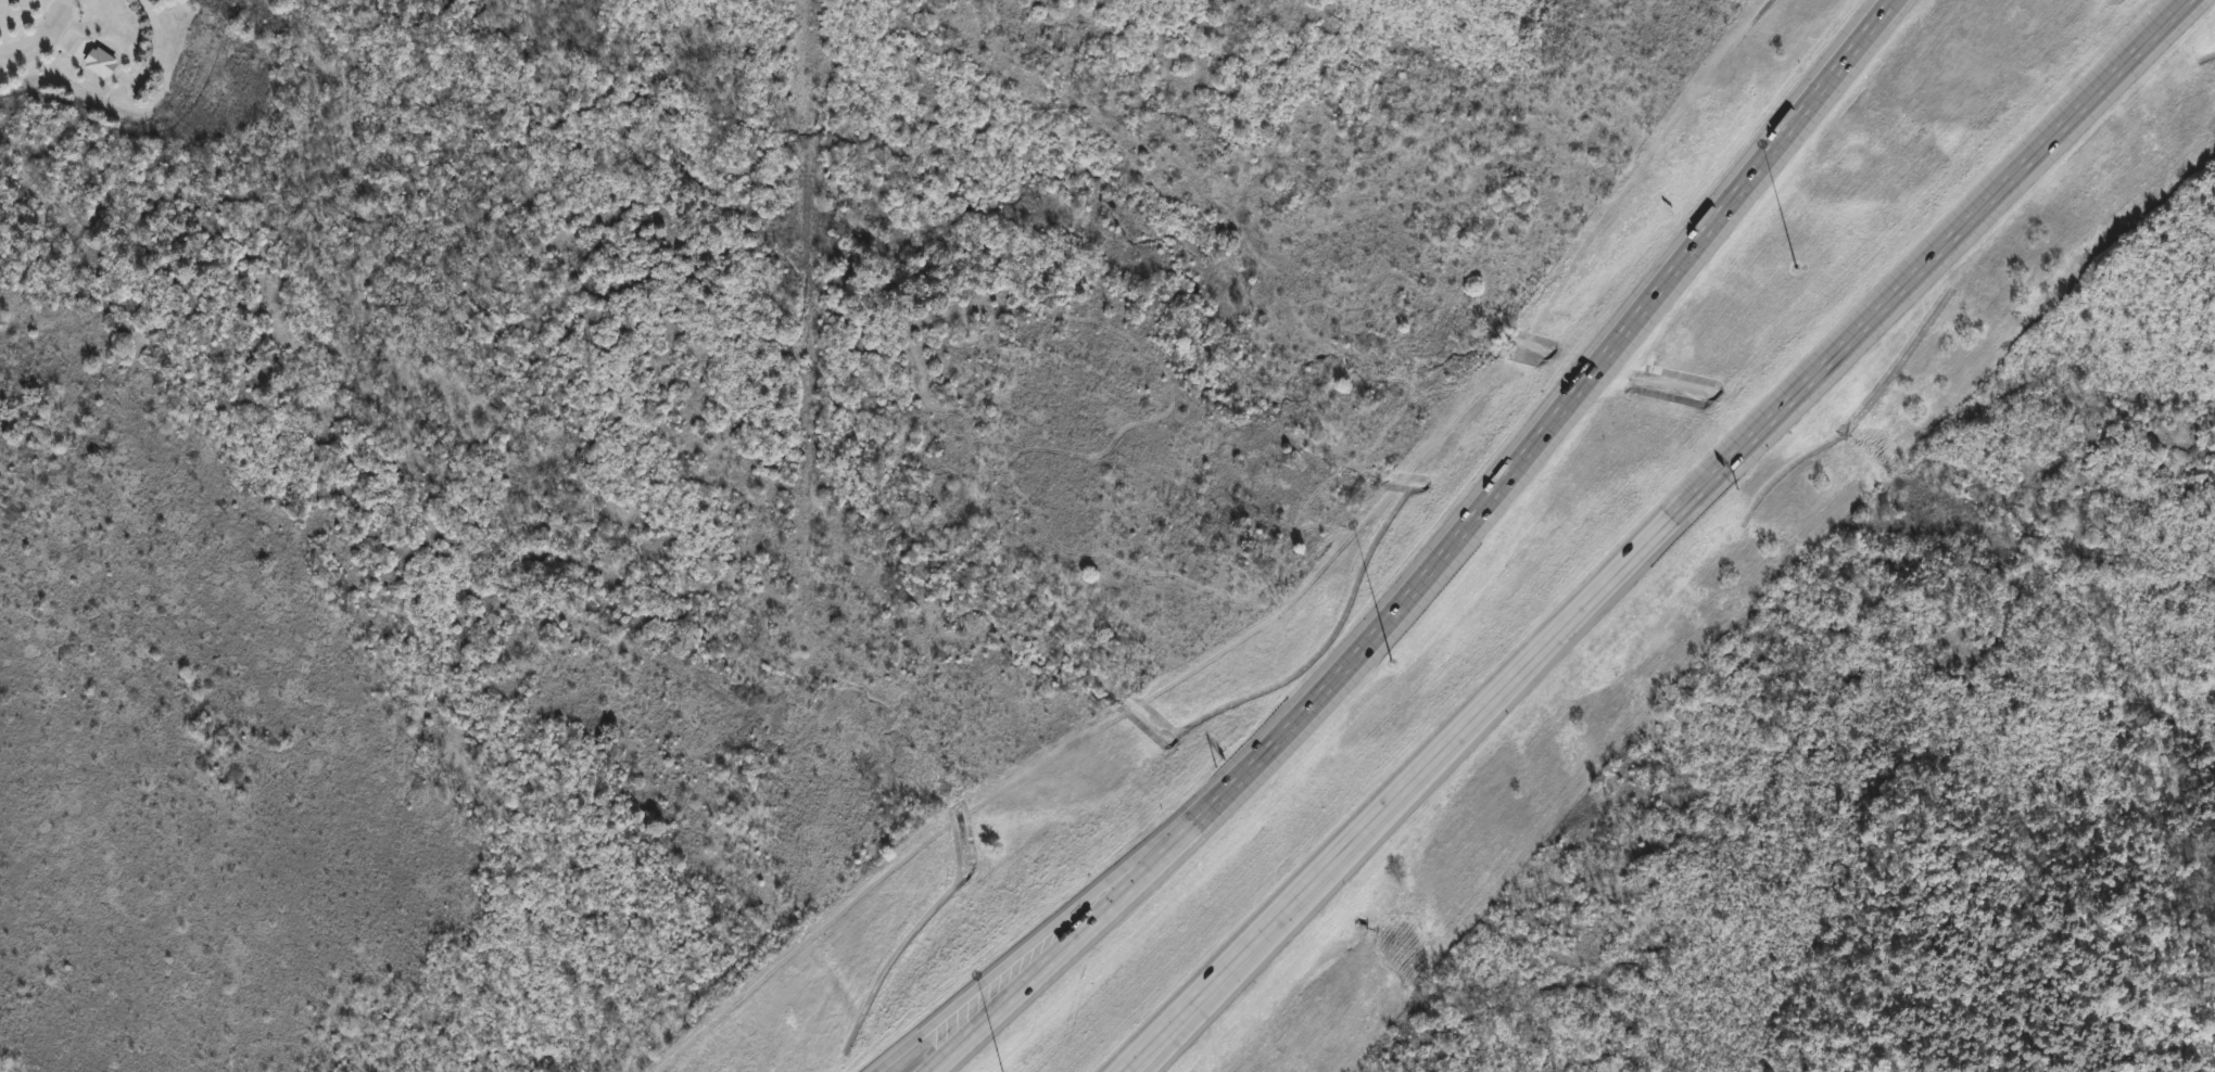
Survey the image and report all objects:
road: (37, 35)
road: (157, 41)
building: (103, 63)
street lamp: (1796, 268)
road: (1524, 446)
park: (657, 454)
park: (674, 456)
road: (1649, 535)
street lamp: (1393, 661)
road: (1099, 897)
road: (1034, 972)
road: (965, 997)

